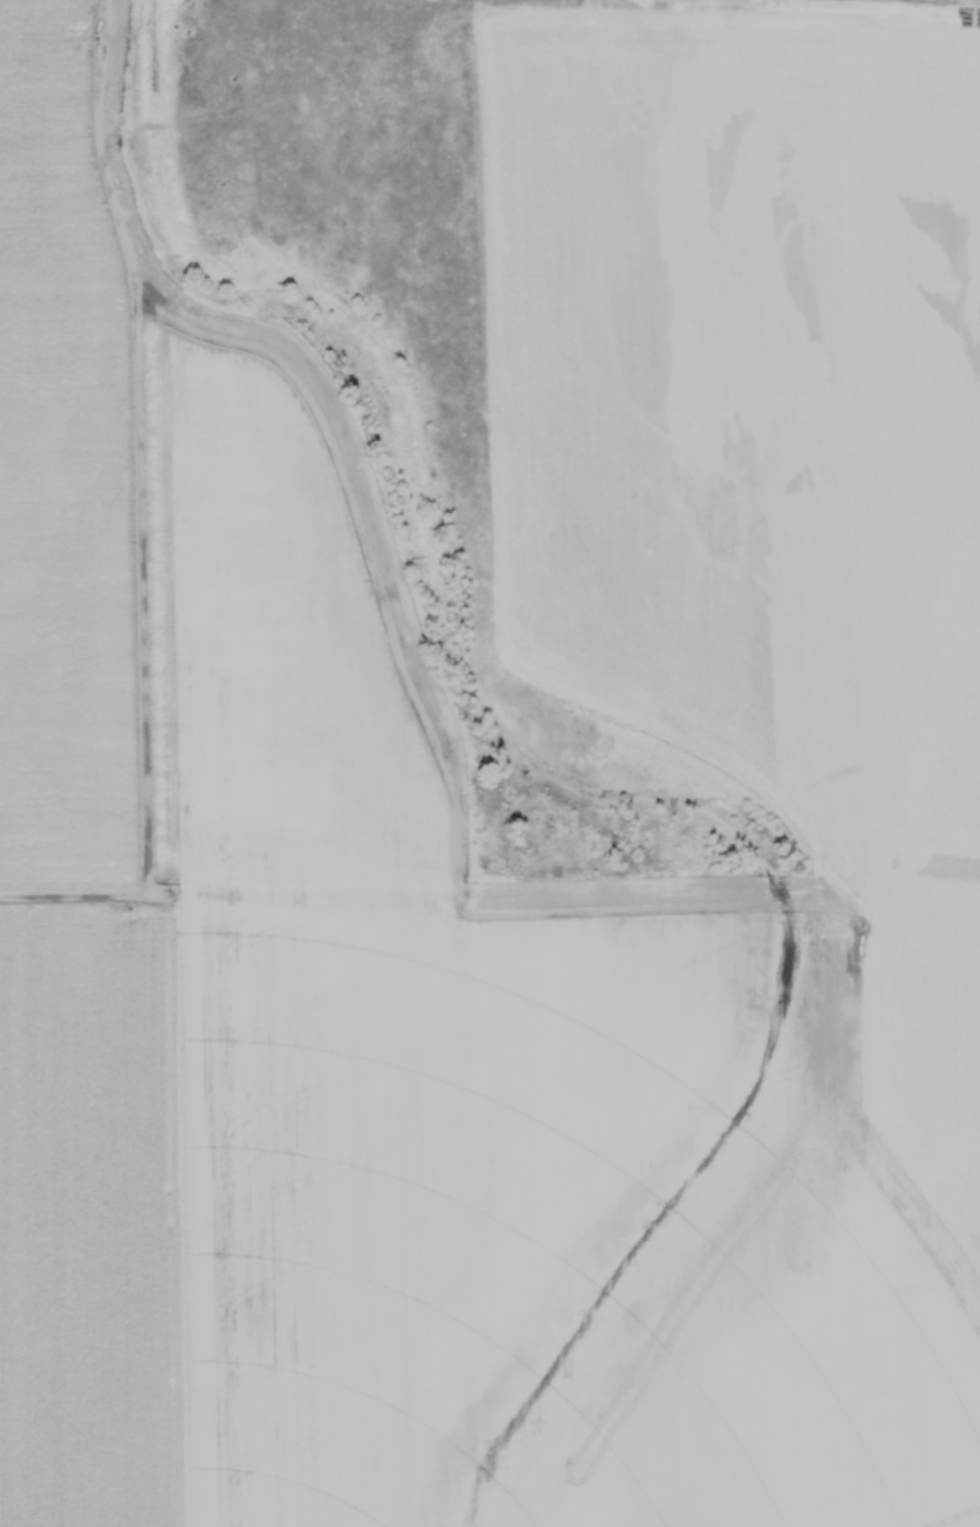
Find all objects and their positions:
crop: (780, 610)
crop: (265, 942)

